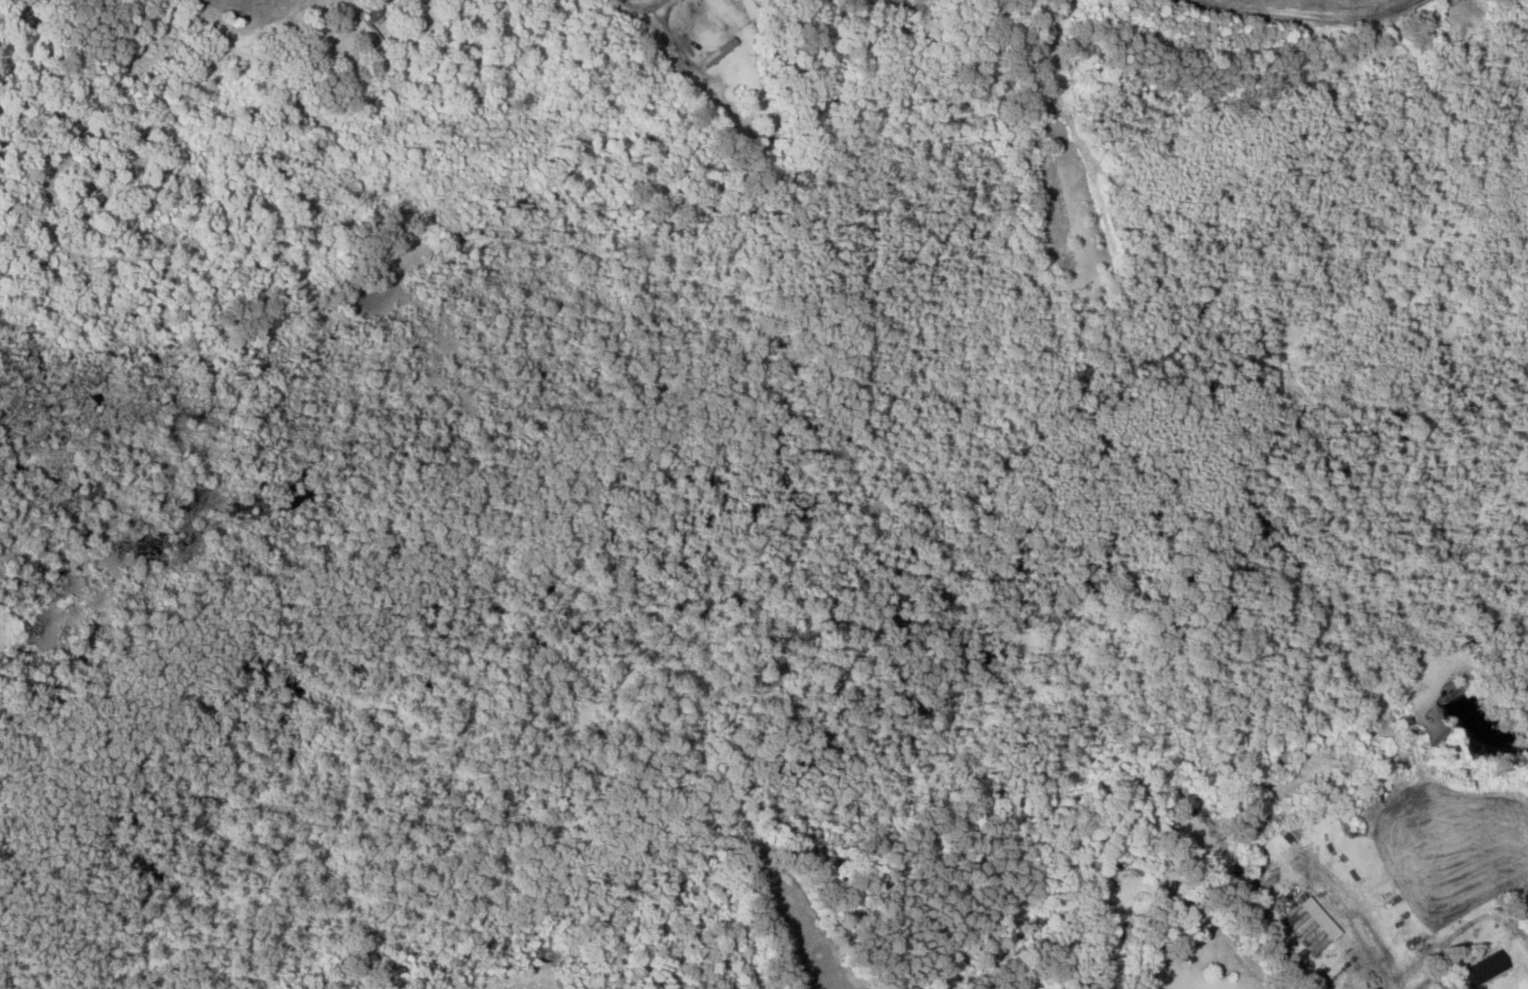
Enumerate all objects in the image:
building: (369, 24)
building: (1267, 834)
building: (1321, 919)
building: (1300, 929)
building: (1486, 969)
building: (1377, 988)

